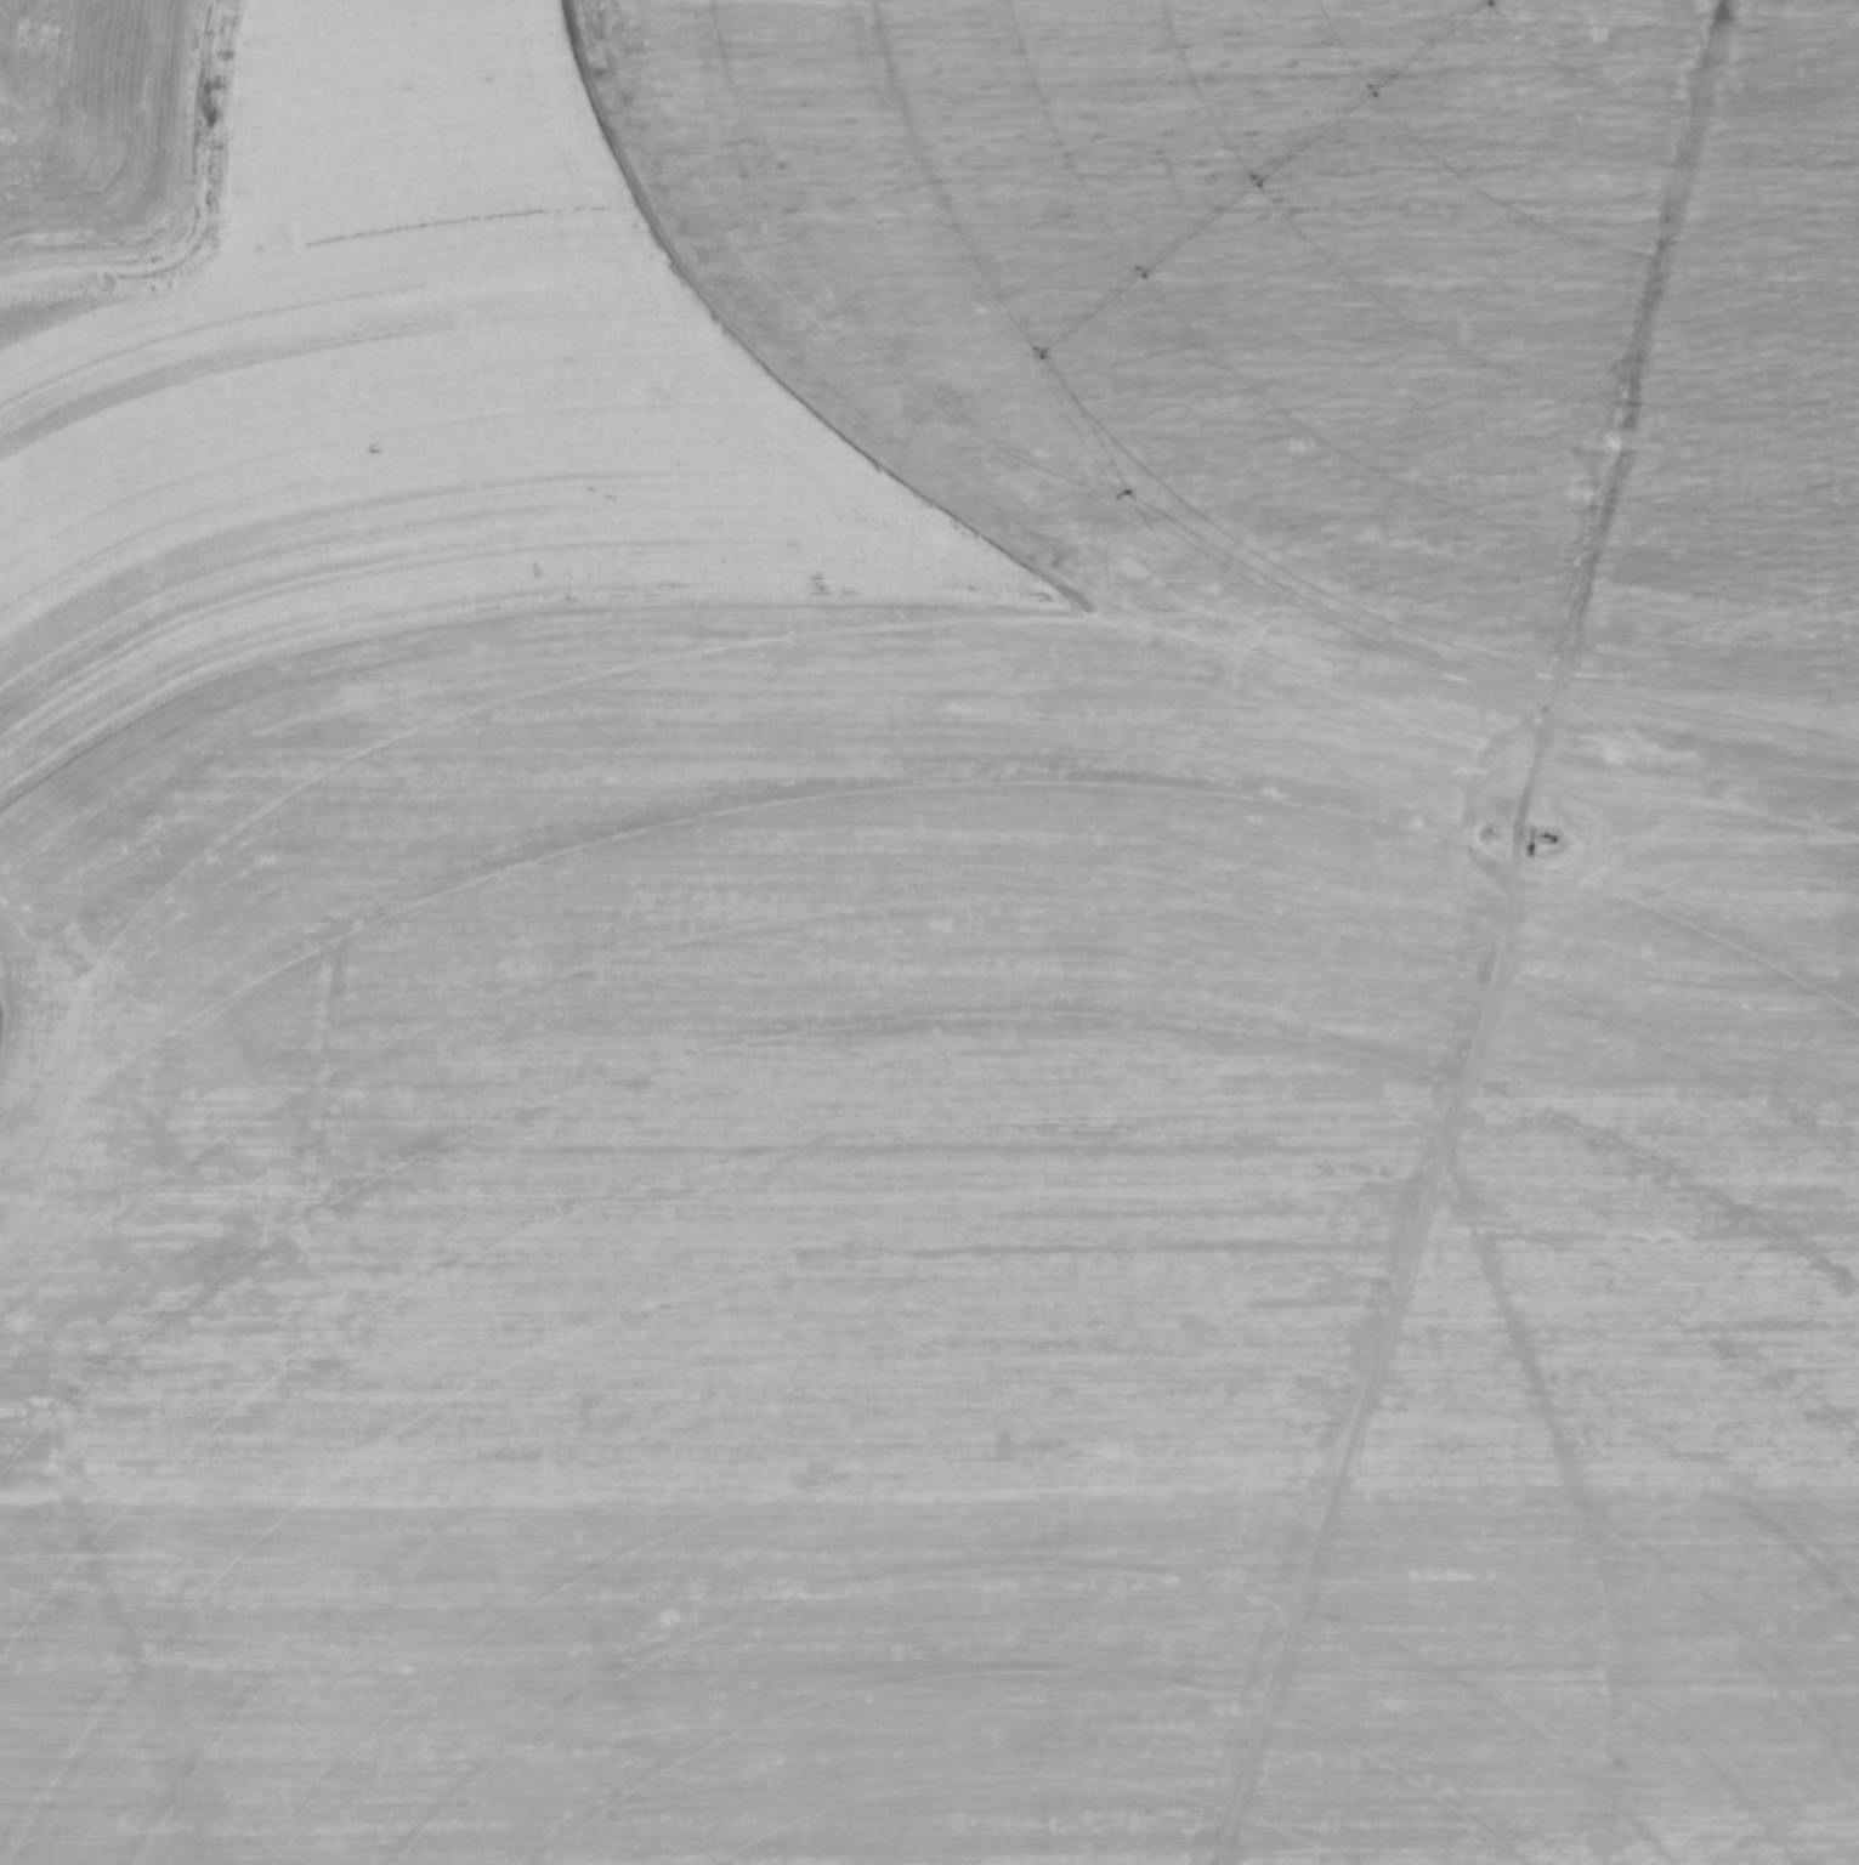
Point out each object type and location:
crop: (92, 115)

